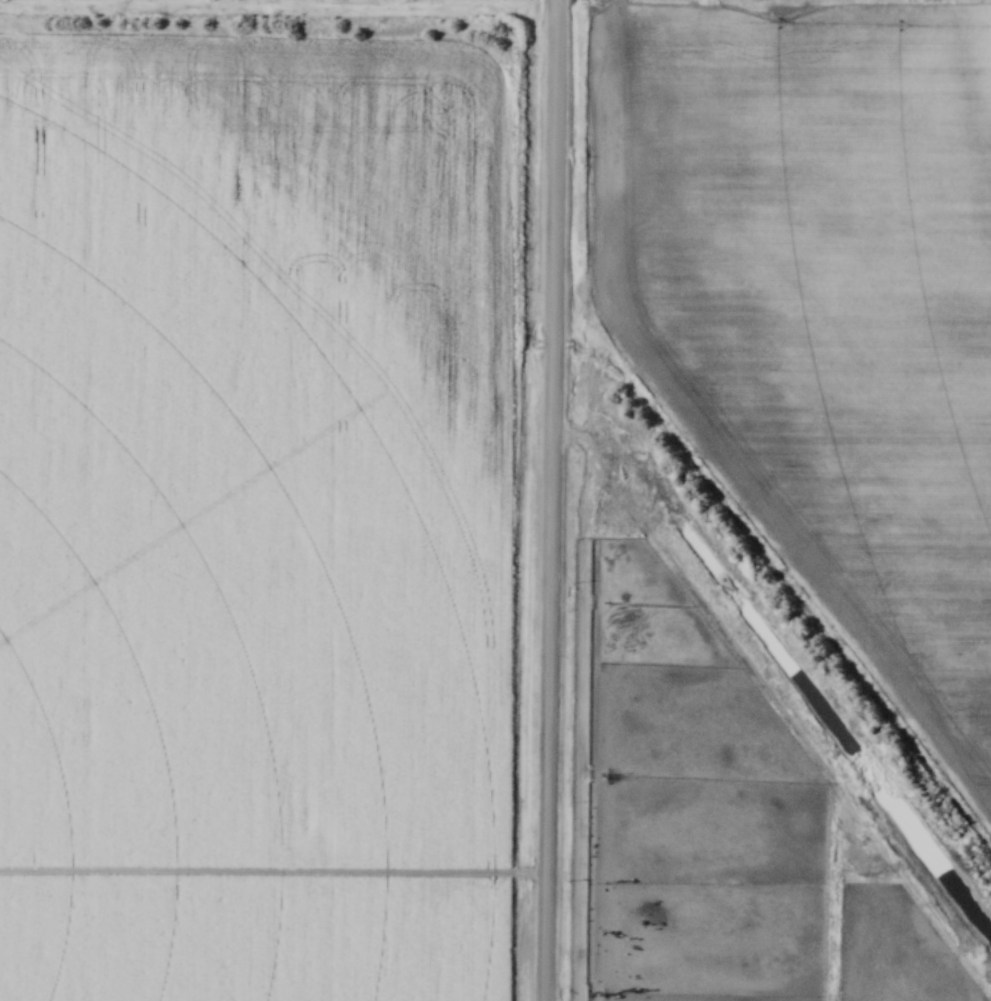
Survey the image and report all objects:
road: (544, 500)

